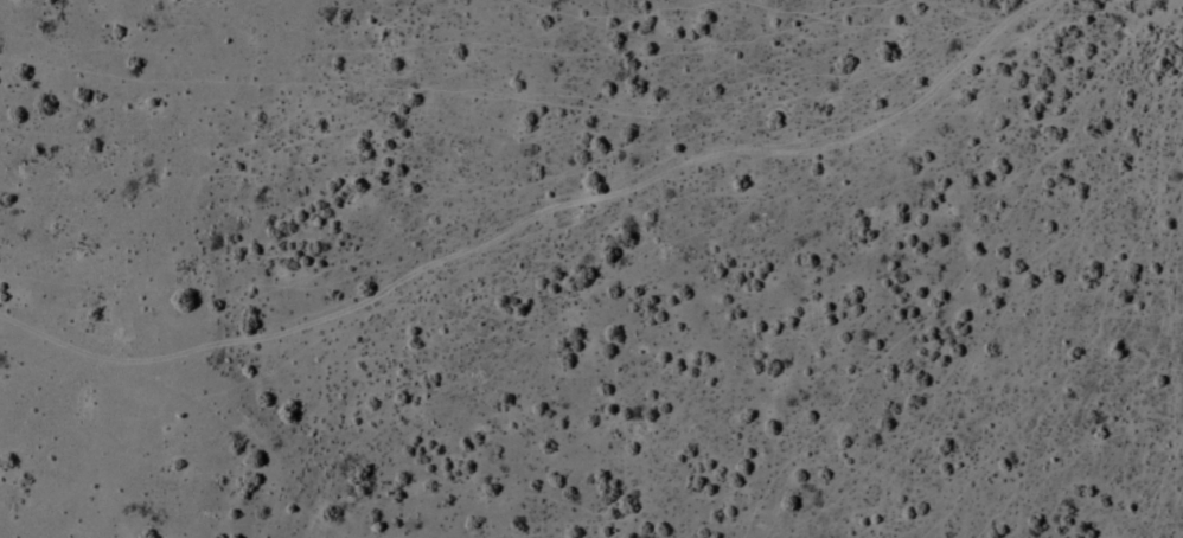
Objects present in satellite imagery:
road: (532, 219)

